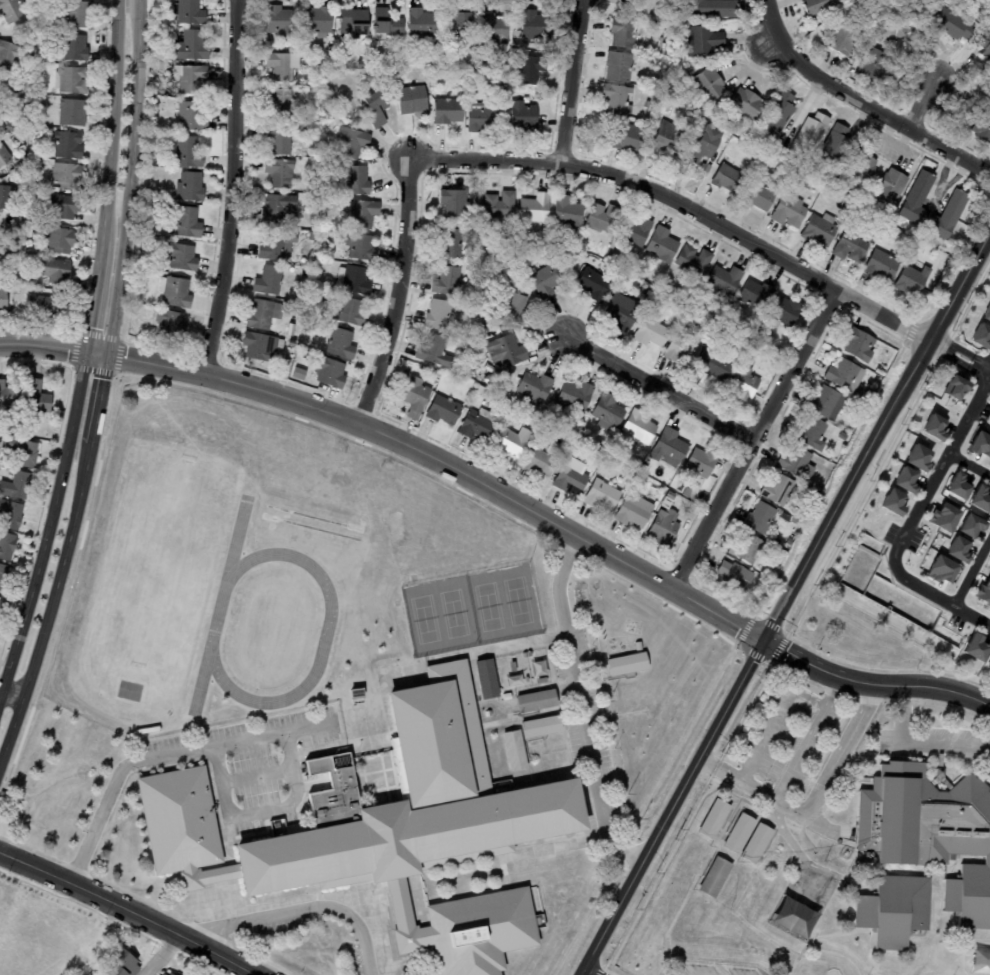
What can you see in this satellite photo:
building: (645, 7)
building: (709, 8)
building: (816, 8)
building: (12, 10)
building: (187, 12)
building: (78, 14)
building: (678, 16)
building: (279, 21)
building: (353, 21)
building: (455, 21)
building: (315, 22)
building: (385, 23)
building: (949, 23)
building: (896, 25)
building: (534, 26)
building: (420, 27)
building: (490, 31)
building: (622, 33)
building: (842, 38)
building: (18, 41)
building: (701, 41)
building: (666, 42)
building: (257, 45)
building: (984, 45)
building: (188, 46)
building: (78, 47)
building: (329, 50)
building: (371, 50)
building: (13, 59)
building: (871, 64)
building: (359, 65)
building: (434, 65)
building: (529, 66)
building: (617, 66)
building: (282, 67)
building: (464, 68)
building: (484, 69)
building: (41, 71)
building: (189, 79)
building: (75, 80)
road: (570, 81)
building: (707, 84)
building: (479, 87)
building: (529, 90)
building: (412, 101)
building: (613, 101)
road: (862, 101)
building: (278, 102)
building: (744, 103)
road: (920, 103)
building: (647, 105)
building: (377, 109)
building: (989, 109)
building: (446, 111)
building: (75, 113)
building: (777, 115)
building: (190, 116)
building: (522, 116)
building: (479, 119)
road: (112, 122)
building: (10, 128)
building: (981, 128)
building: (171, 129)
building: (666, 135)
building: (810, 135)
building: (278, 138)
building: (625, 138)
building: (352, 142)
building: (700, 144)
building: (71, 145)
building: (832, 148)
building: (185, 153)
building: (5, 155)
building: (34, 162)
building: (861, 168)
building: (278, 174)
building: (70, 176)
road: (130, 178)
building: (726, 179)
building: (354, 181)
building: (773, 184)
building: (891, 186)
building: (32, 187)
building: (188, 187)
road: (233, 188)
building: (844, 191)
building: (6, 197)
building: (756, 197)
building: (916, 199)
building: (453, 202)
road: (682, 203)
building: (498, 205)
building: (65, 207)
building: (533, 208)
building: (278, 210)
building: (789, 212)
building: (565, 213)
building: (361, 215)
building: (948, 215)
building: (601, 218)
building: (888, 218)
building: (185, 223)
building: (880, 225)
building: (819, 230)
building: (633, 231)
building: (312, 237)
building: (64, 240)
building: (319, 241)
building: (447, 244)
building: (518, 244)
building: (275, 245)
building: (661, 245)
building: (358, 247)
building: (851, 247)
building: (886, 248)
building: (482, 256)
building: (180, 257)
building: (692, 261)
building: (880, 265)
building: (58, 272)
building: (640, 273)
building: (545, 280)
building: (722, 280)
building: (911, 280)
building: (142, 281)
building: (266, 281)
building: (354, 281)
building: (445, 282)
building: (592, 283)
building: (19, 291)
building: (174, 293)
road: (397, 293)
building: (755, 295)
road: (93, 298)
building: (5, 300)
building: (42, 306)
building: (511, 309)
building: (347, 311)
building: (782, 313)
building: (986, 313)
building: (262, 315)
building: (436, 315)
building: (621, 315)
building: (168, 325)
building: (311, 327)
building: (651, 333)
building: (742, 333)
building: (292, 334)
building: (980, 337)
road: (954, 343)
building: (290, 344)
building: (340, 344)
building: (858, 345)
building: (257, 347)
building: (465, 347)
building: (680, 350)
building: (508, 351)
building: (432, 352)
road: (946, 358)
road: (976, 362)
building: (713, 367)
building: (422, 368)
road: (972, 368)
road: (983, 370)
building: (880, 372)
building: (329, 373)
building: (297, 375)
building: (844, 376)
building: (488, 380)
building: (743, 382)
building: (533, 387)
building: (954, 387)
road: (658, 388)
building: (9, 395)
building: (40, 396)
building: (413, 397)
building: (573, 397)
road: (100, 399)
building: (826, 403)
building: (861, 407)
building: (441, 410)
building: (606, 412)
building: (538, 415)
building: (550, 419)
building: (474, 425)
building: (933, 427)
building: (637, 430)
building: (809, 434)
building: (581, 435)
building: (842, 437)
road: (752, 438)
road: (399, 441)
building: (511, 441)
building: (979, 444)
building: (668, 450)
building: (26, 451)
building: (917, 457)
building: (989, 460)
building: (539, 461)
building: (699, 464)
building: (796, 464)
road: (969, 465)
building: (643, 469)
road: (939, 471)
building: (570, 478)
building: (644, 479)
building: (904, 479)
building: (634, 483)
building: (674, 484)
building: (19, 485)
building: (957, 486)
building: (776, 491)
building: (654, 494)
building: (601, 495)
building: (979, 498)
building: (892, 502)
building: (682, 509)
building: (632, 512)
building: (13, 514)
building: (988, 515)
building: (942, 517)
building: (758, 519)
building: (795, 522)
road: (49, 524)
building: (663, 524)
building: (970, 525)
building: (8, 545)
building: (745, 547)
building: (770, 547)
building: (957, 549)
track: (95, 559)
building: (940, 569)
road: (971, 572)
building: (731, 574)
building: (4, 575)
building: (983, 592)
road: (939, 599)
road: (784, 600)
building: (1, 601)
road: (50, 603)
park: (469, 612)
traffic signals: (763, 640)
building: (974, 647)
building: (528, 654)
building: (524, 655)
building: (988, 663)
building: (626, 666)
building: (486, 678)
road: (873, 683)
building: (354, 693)
building: (506, 696)
road: (10, 697)
parking lot: (578, 701)
building: (534, 703)
road: (582, 705)
road: (780, 707)
building: (540, 727)
parking lot: (788, 735)
road: (235, 743)
parking lot: (926, 743)
road: (917, 744)
building: (514, 753)
road: (795, 753)
parking lot: (247, 763)
road: (256, 777)
road: (813, 802)
building: (410, 803)
road: (263, 811)
road: (95, 816)
building: (178, 820)
building: (713, 821)
building: (738, 836)
building: (756, 845)
building: (921, 852)
building: (688, 865)
building: (713, 878)
building: (732, 888)
building: (756, 902)
building: (665, 906)
road: (129, 910)
road: (294, 913)
building: (690, 917)
building: (479, 931)
road: (161, 954)
building: (121, 966)
parking lot: (710, 969)
building: (168, 973)
building: (163, 974)
road: (583, 974)

